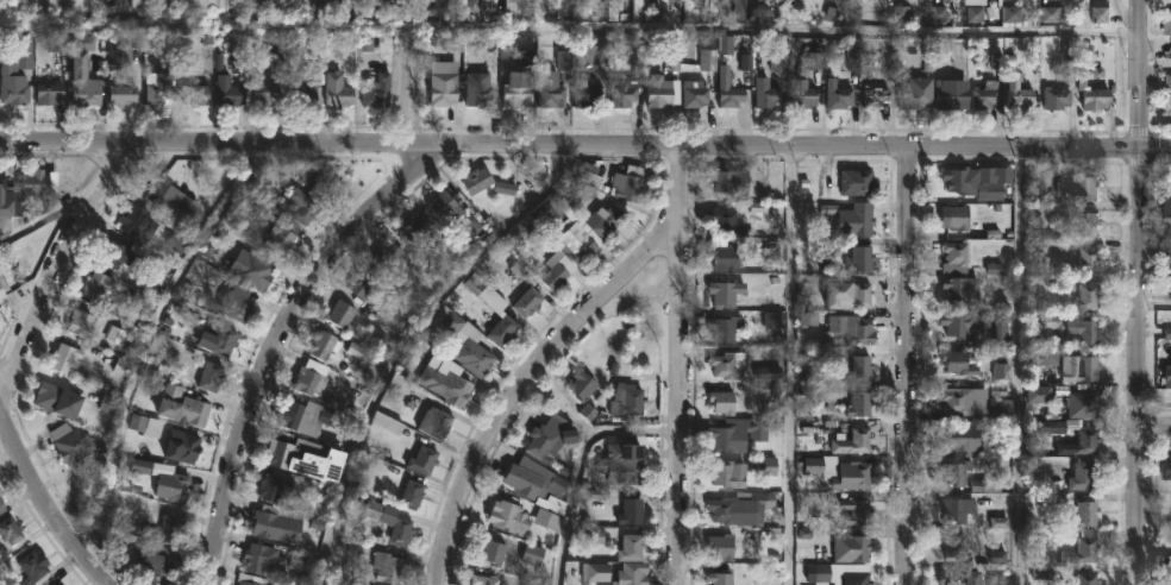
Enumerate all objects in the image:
road: (120, 0)
building: (292, 0)
building: (832, 1)
building: (188, 2)
building: (489, 6)
building: (270, 7)
building: (321, 7)
building: (371, 7)
building: (588, 7)
building: (713, 7)
building: (740, 7)
building: (464, 8)
building: (512, 8)
building: (641, 8)
building: (403, 10)
building: (439, 10)
building: (614, 10)
building: (343, 11)
building: (854, 11)
building: (544, 12)
building: (664, 12)
building: (696, 12)
building: (1169, 23)
road: (568, 31)
building: (369, 44)
building: (527, 51)
building: (119, 52)
building: (708, 61)
road: (1154, 71)
building: (18, 73)
building: (86, 73)
building: (159, 87)
building: (481, 88)
building: (520, 88)
building: (339, 89)
building: (377, 89)
building: (446, 89)
building: (303, 90)
building: (553, 90)
building: (662, 90)
building: (269, 92)
building: (732, 92)
building: (1019, 92)
building: (51, 93)
building: (699, 93)
building: (806, 93)
building: (124, 94)
building: (198, 94)
building: (624, 94)
building: (234, 95)
building: (594, 95)
building: (841, 95)
building: (989, 95)
building: (914, 96)
building: (950, 96)
building: (1097, 96)
building: (770, 97)
building: (878, 97)
building: (1060, 97)
road: (585, 146)
building: (591, 178)
building: (480, 180)
building: (734, 181)
building: (977, 182)
building: (40, 183)
building: (631, 184)
building: (857, 184)
building: (1078, 188)
building: (299, 195)
building: (173, 196)
building: (10, 206)
building: (446, 207)
building: (1164, 208)
road: (45, 216)
building: (956, 216)
building: (729, 220)
building: (863, 220)
building: (605, 221)
building: (1084, 224)
building: (152, 228)
building: (420, 229)
building: (283, 237)
building: (580, 243)
building: (117, 254)
building: (392, 254)
building: (727, 257)
building: (862, 260)
building: (1083, 262)
road: (56, 266)
building: (957, 270)
building: (257, 271)
building: (558, 272)
building: (367, 282)
building: (99, 284)
building: (487, 291)
building: (1, 292)
building: (728, 292)
road: (1140, 292)
building: (851, 295)
building: (1083, 297)
building: (527, 302)
building: (238, 303)
road: (1156, 308)
building: (343, 314)
building: (392, 314)
building: (81, 322)
building: (959, 325)
building: (727, 328)
building: (506, 331)
building: (847, 331)
building: (1078, 332)
building: (1004, 333)
building: (115, 336)
building: (224, 338)
road: (278, 340)
building: (465, 342)
building: (336, 345)
building: (64, 358)
road: (683, 365)
building: (1083, 365)
road: (799, 366)
road: (907, 366)
building: (964, 366)
road: (1023, 366)
building: (728, 367)
building: (860, 369)
road: (533, 375)
building: (212, 377)
building: (1165, 377)
building: (444, 380)
building: (312, 383)
building: (584, 385)
building: (61, 400)
building: (628, 400)
building: (958, 401)
building: (722, 402)
building: (1079, 404)
building: (108, 405)
building: (863, 405)
building: (183, 407)
building: (307, 417)
building: (433, 422)
road: (1156, 426)
road: (633, 429)
building: (547, 435)
building: (729, 438)
building: (959, 439)
building: (1084, 440)
building: (854, 442)
building: (183, 446)
building: (77, 447)
building: (307, 458)
building: (425, 460)
building: (627, 466)
building: (768, 467)
road: (577, 470)
building: (1165, 470)
building: (841, 472)
building: (953, 472)
building: (731, 474)
building: (1079, 476)
building: (536, 480)
building: (174, 484)
building: (276, 487)
building: (414, 495)
road: (43, 503)
building: (2, 504)
building: (740, 507)
building: (950, 510)
building: (633, 511)
building: (856, 512)
building: (1081, 515)
building: (511, 517)
building: (275, 522)
building: (170, 529)
building: (12, 531)
building: (400, 533)
building: (951, 546)
building: (724, 547)
road: (1156, 547)
building: (634, 548)
building: (1079, 548)
building: (857, 549)
building: (495, 552)
building: (537, 556)
building: (261, 561)
building: (155, 564)
building: (35, 567)
building: (388, 568)
building: (597, 573)
building: (635, 574)
building: (722, 575)
building: (956, 578)
building: (252, 579)
building: (858, 579)
building: (1085, 579)
building: (486, 580)
building: (527, 584)

